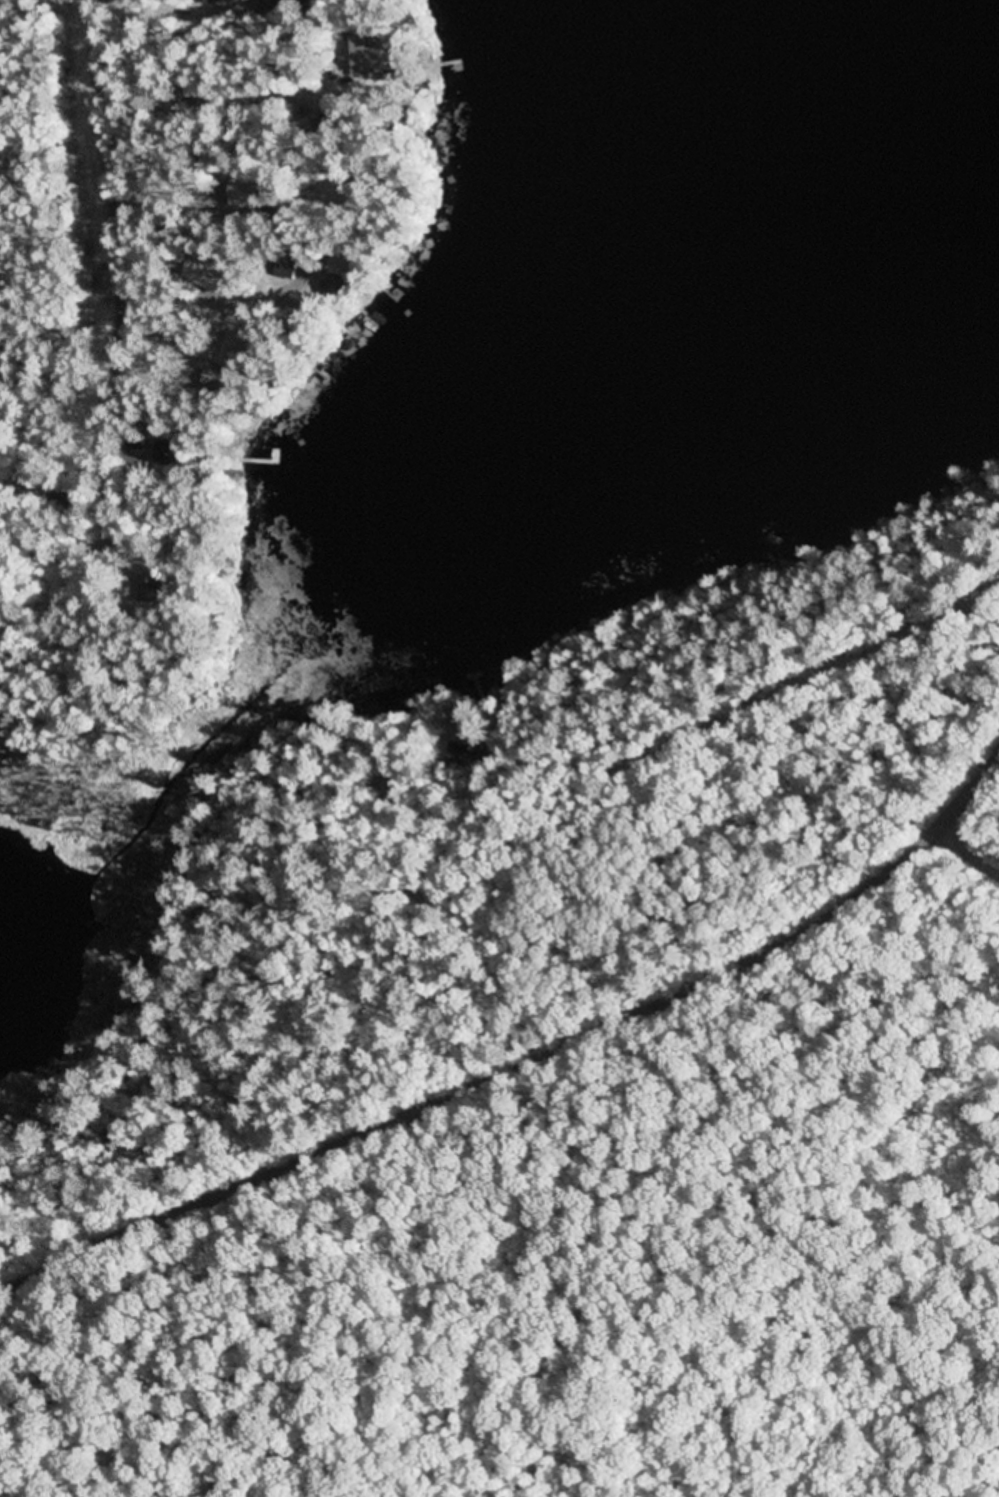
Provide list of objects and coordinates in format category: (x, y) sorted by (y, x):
road: (119, 177)
building: (251, 189)
building: (287, 265)
building: (239, 348)
building: (153, 585)
road: (830, 765)
road: (521, 1064)

